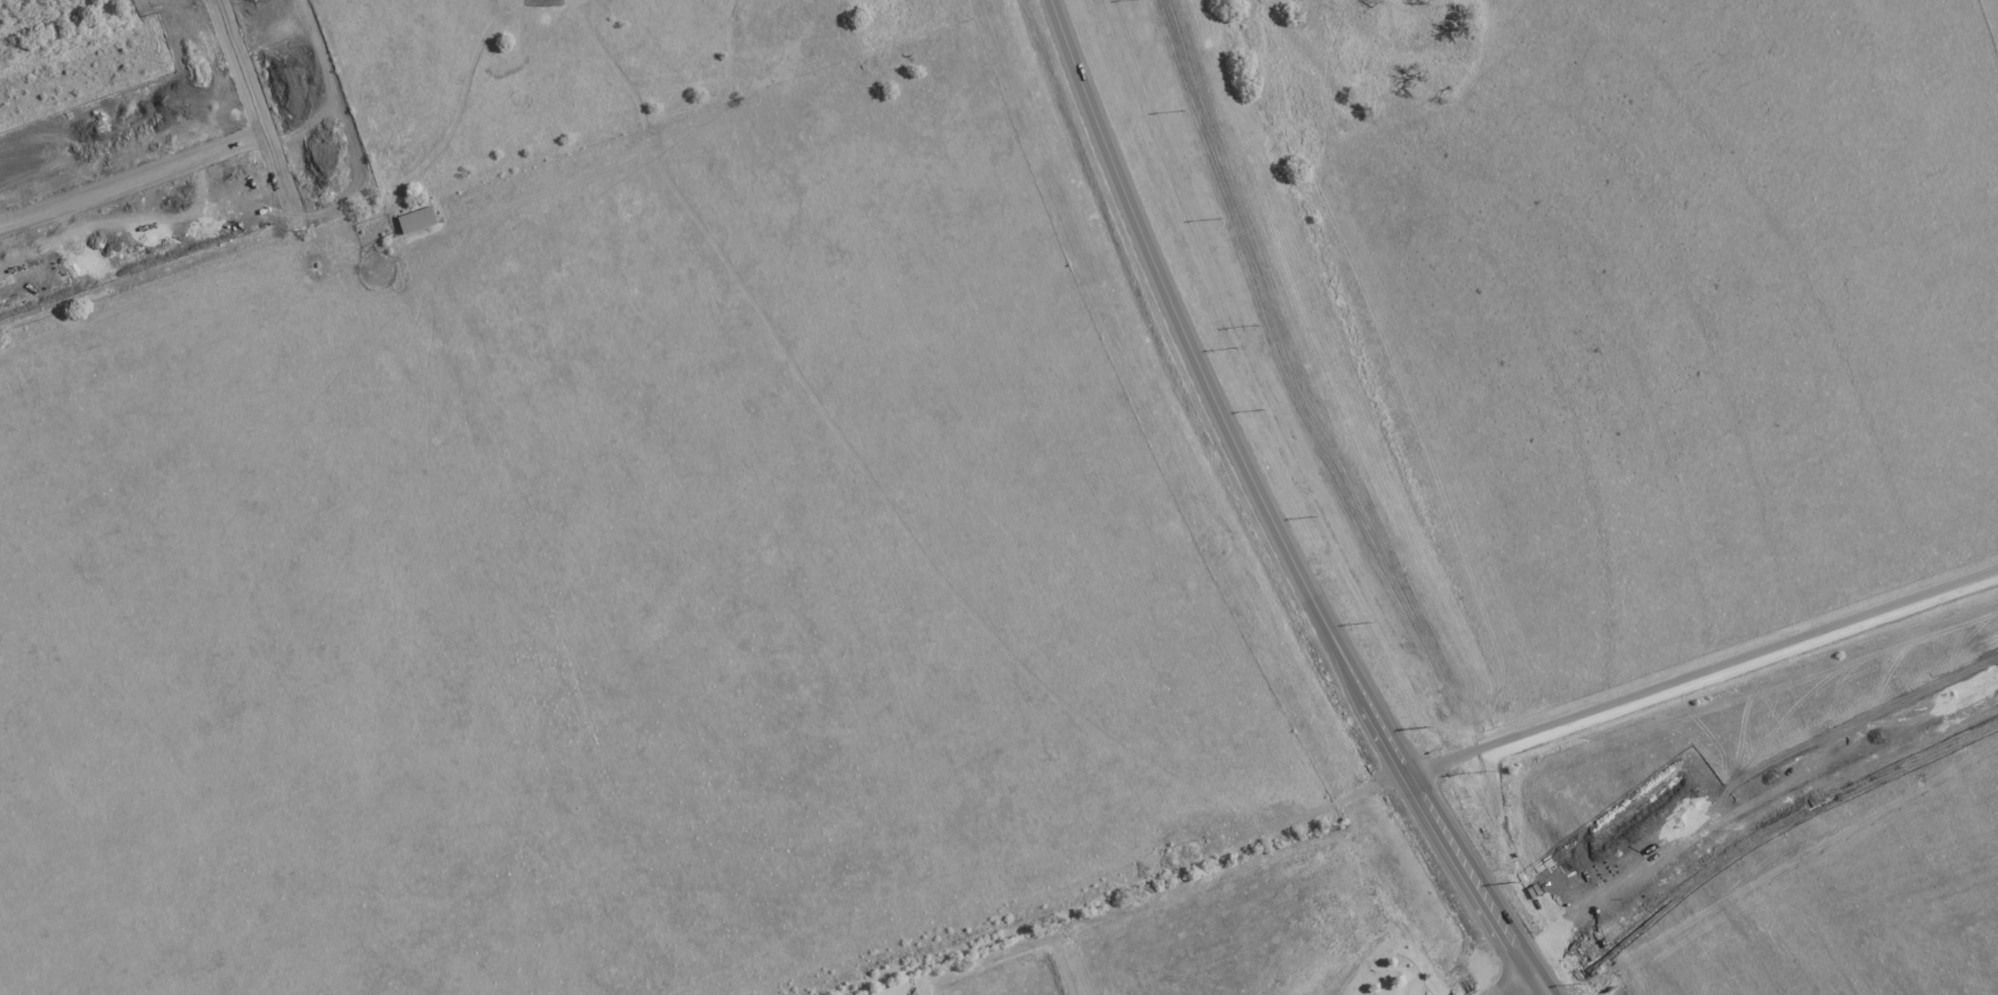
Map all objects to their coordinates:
road: (33, 11)
road: (460, 97)
road: (267, 102)
road: (136, 167)
building: (417, 220)
road: (1348, 394)
road: (1272, 513)
road: (1702, 669)
road: (1792, 795)
road: (1572, 950)
traffic signals: (1538, 975)
road: (1528, 979)

